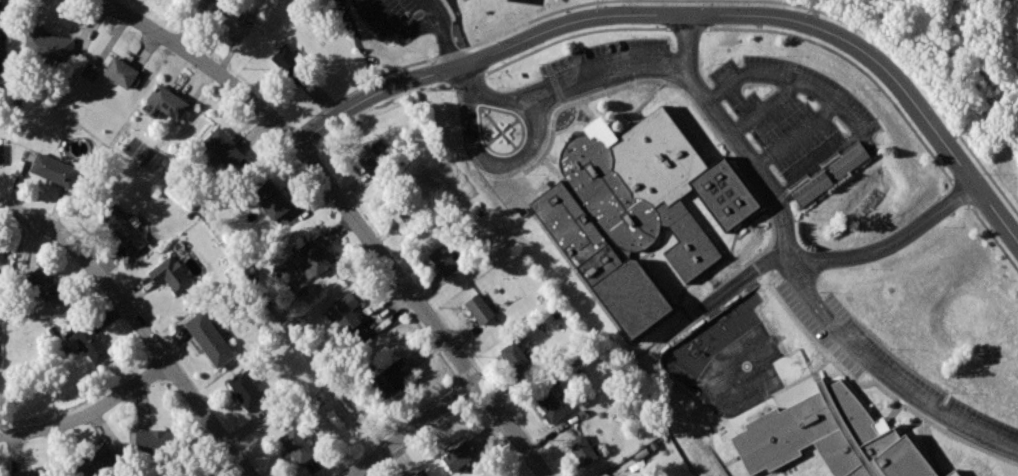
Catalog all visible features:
building: (209, 0)
road: (443, 1)
road: (105, 3)
road: (431, 7)
road: (690, 14)
building: (234, 17)
parking lot: (402, 17)
road: (532, 19)
road: (686, 27)
road: (398, 31)
road: (572, 34)
road: (446, 41)
building: (49, 45)
road: (448, 52)
building: (1, 54)
road: (851, 62)
building: (290, 65)
parking lot: (607, 67)
building: (91, 71)
building: (121, 71)
road: (605, 72)
road: (467, 78)
road: (914, 79)
road: (364, 85)
road: (472, 90)
road: (646, 100)
building: (165, 103)
road: (380, 103)
road: (695, 103)
road: (838, 103)
road: (764, 107)
road: (586, 111)
road: (570, 122)
road: (579, 122)
parking lot: (789, 125)
road: (290, 132)
road: (308, 133)
road: (797, 135)
building: (222, 147)
building: (1, 153)
road: (728, 156)
road: (522, 158)
building: (848, 159)
building: (372, 163)
building: (53, 168)
road: (551, 169)
building: (811, 188)
road: (959, 192)
building: (272, 199)
building: (636, 210)
building: (408, 212)
road: (349, 218)
building: (124, 227)
road: (993, 238)
road: (657, 245)
road: (650, 247)
building: (1, 255)
road: (842, 256)
building: (313, 257)
building: (444, 260)
building: (170, 273)
road: (792, 274)
road: (653, 277)
building: (44, 284)
building: (480, 308)
building: (349, 316)
road: (138, 325)
road: (620, 331)
building: (209, 338)
building: (88, 341)
building: (516, 357)
road: (810, 374)
road: (816, 374)
building: (392, 376)
road: (866, 385)
road: (678, 386)
parking lot: (918, 389)
building: (245, 390)
building: (549, 401)
road: (89, 413)
road: (894, 413)
road: (912, 424)
road: (414, 431)
building: (830, 437)
building: (157, 439)
building: (297, 445)
building: (582, 451)
building: (458, 453)
building: (99, 463)
building: (31, 471)
building: (419, 473)

